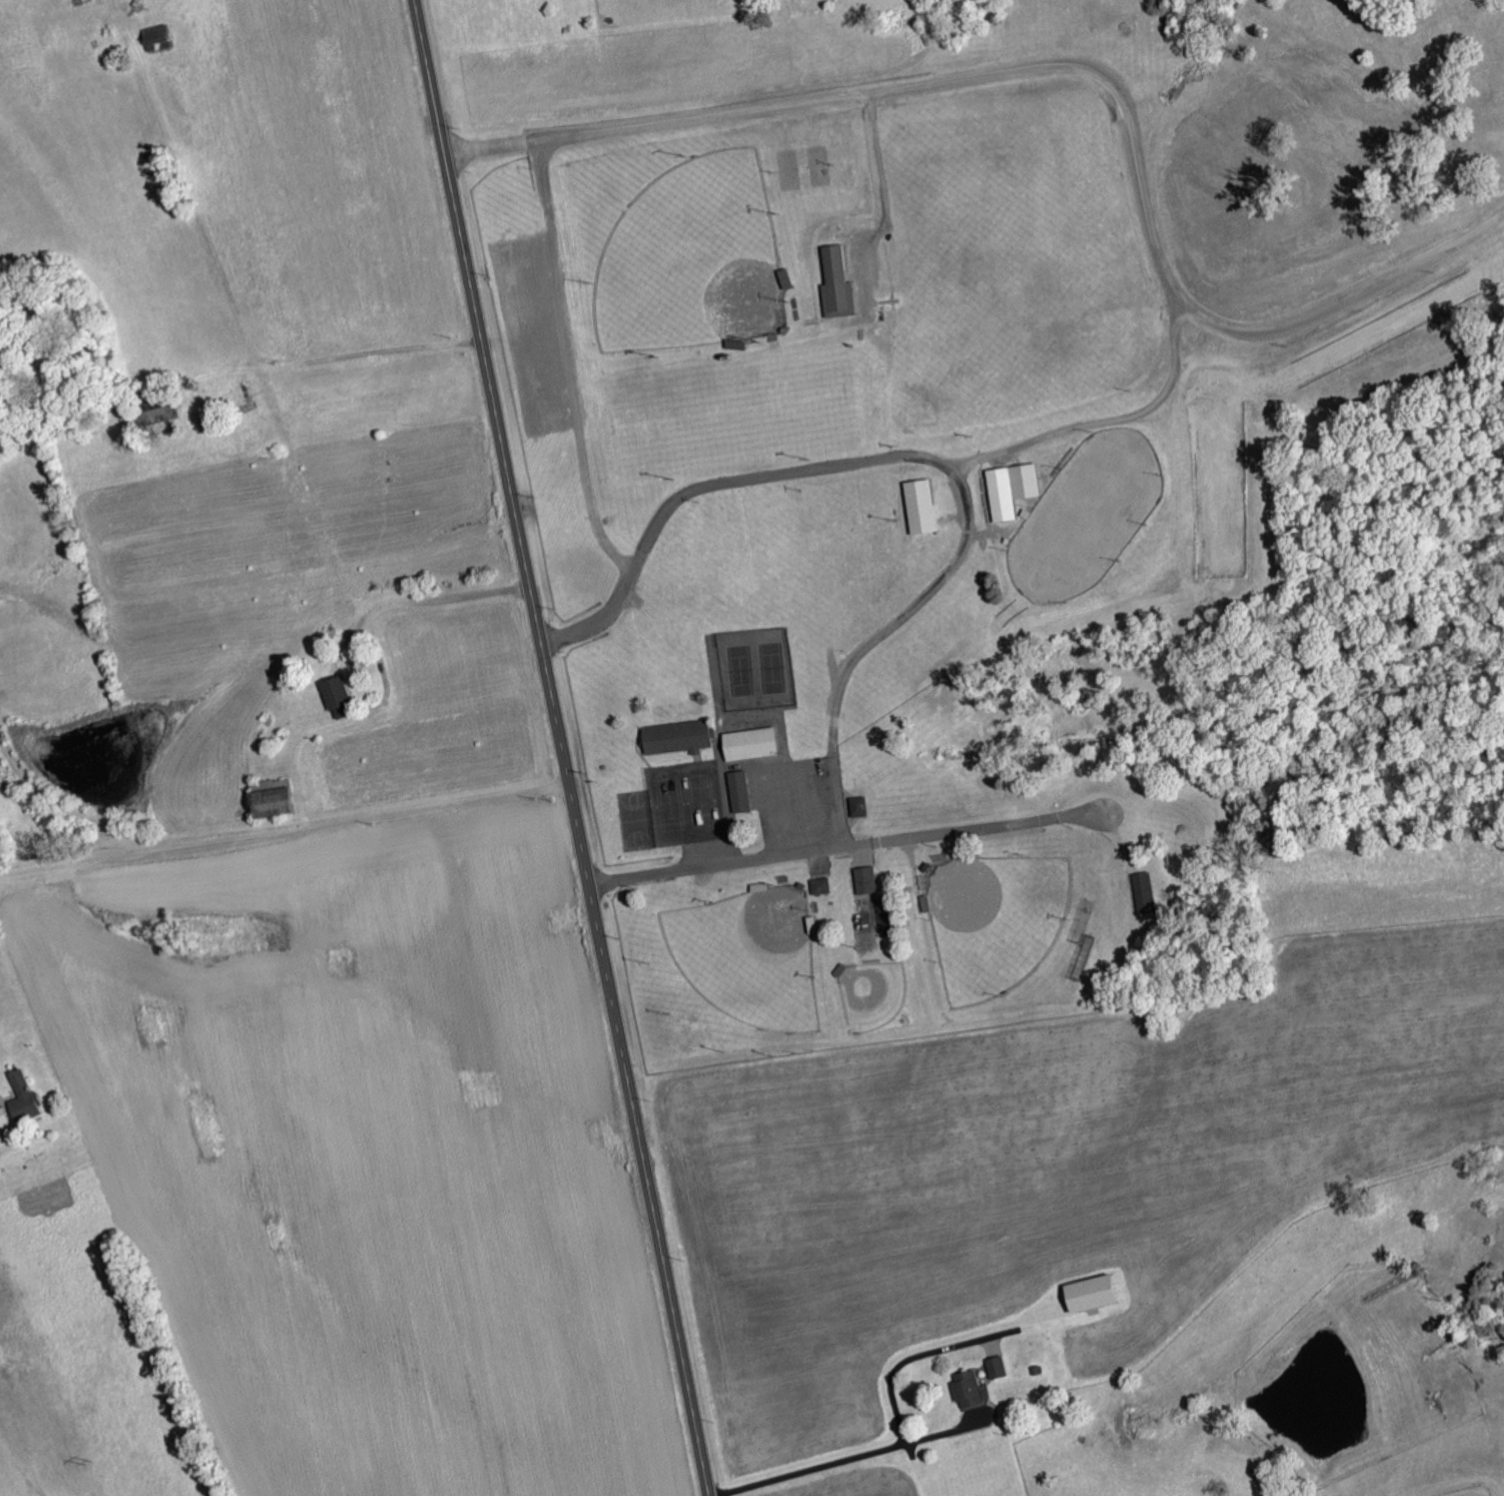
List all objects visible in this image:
building: (156, 37)
building: (834, 284)
road: (1139, 411)
road: (925, 461)
building: (1010, 489)
building: (920, 506)
park: (831, 525)
building: (336, 697)
road: (728, 721)
building: (676, 737)
building: (750, 744)
road: (563, 747)
road: (760, 765)
building: (738, 791)
building: (270, 798)
building: (858, 806)
road: (285, 835)
road: (855, 845)
building: (864, 880)
building: (820, 886)
building: (1144, 894)
building: (22, 1098)
building: (2, 1119)
building: (1091, 1294)
building: (996, 1368)
building: (967, 1389)
road: (847, 1393)

